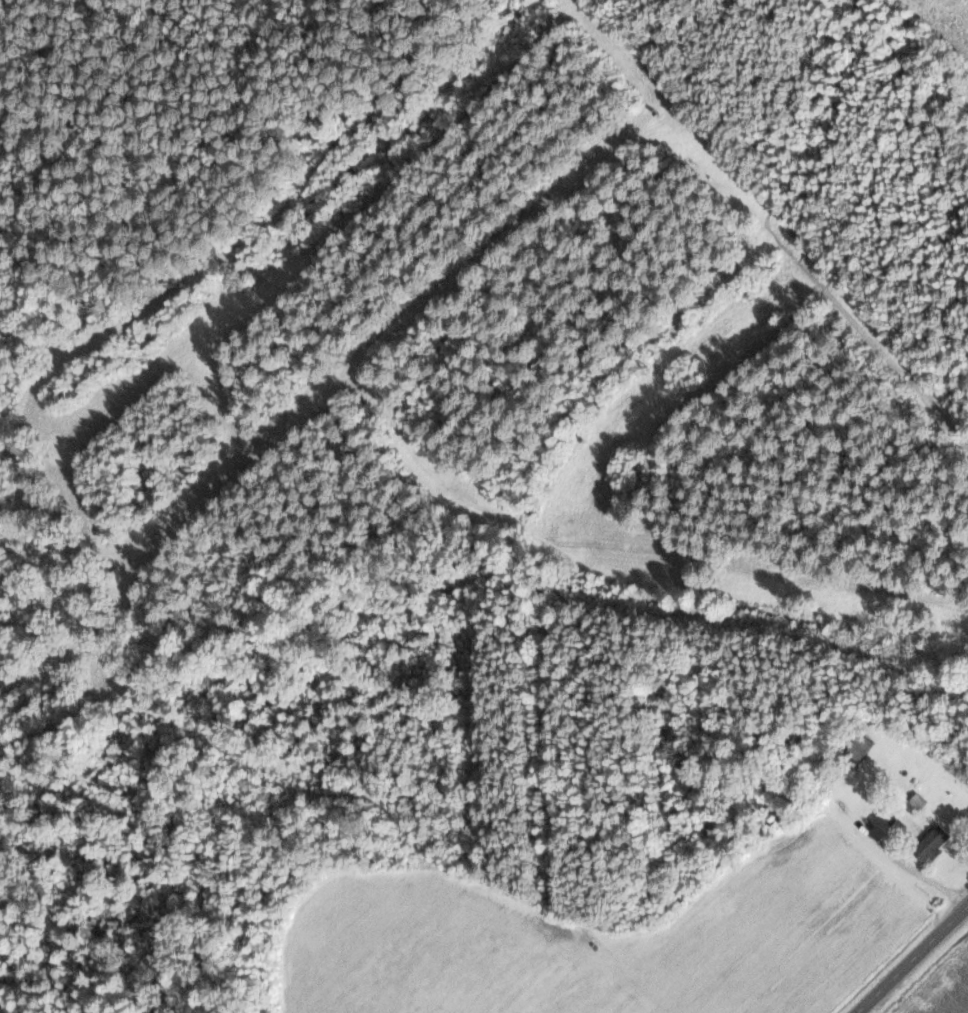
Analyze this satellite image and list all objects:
building: (860, 746)
building: (919, 802)
building: (931, 844)
road: (911, 958)

